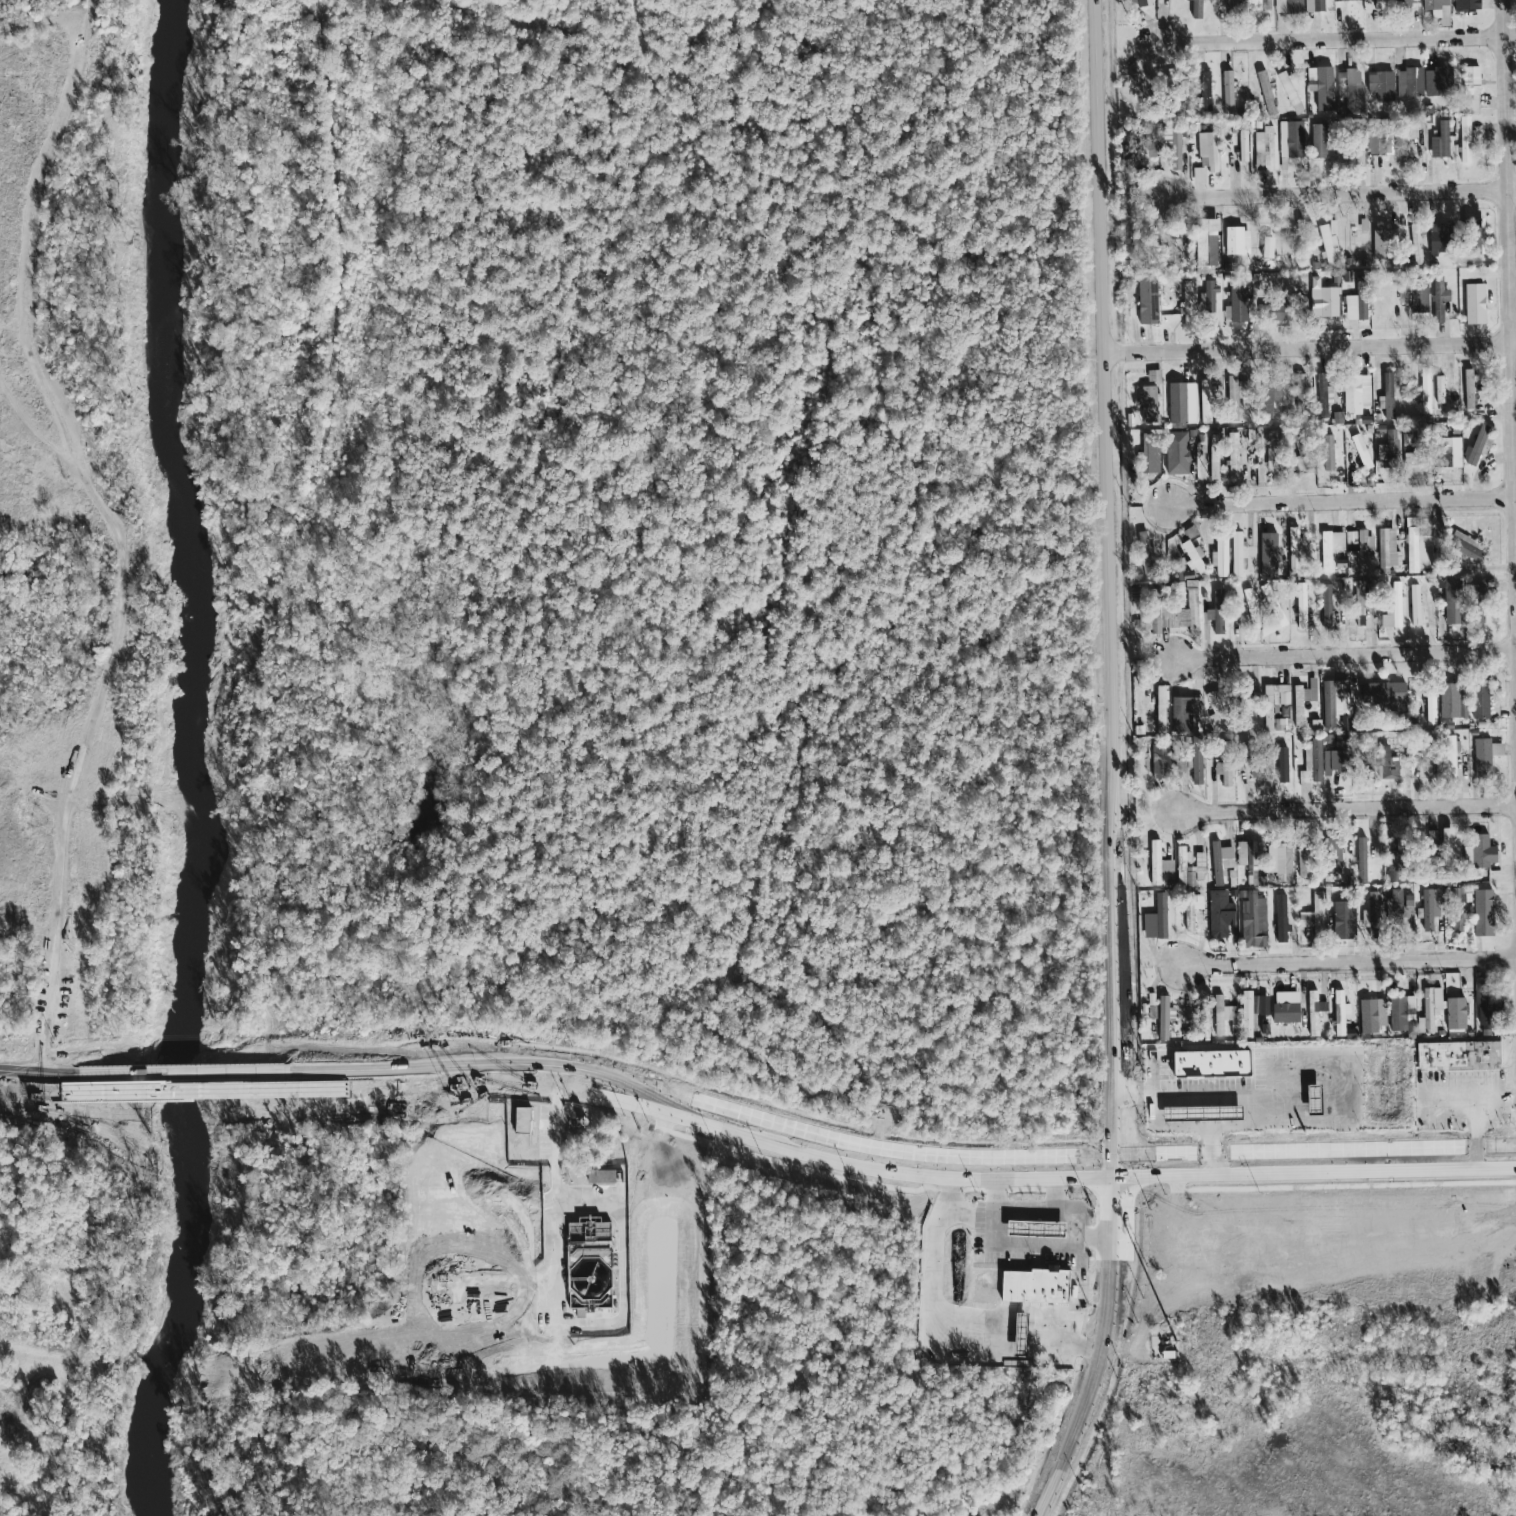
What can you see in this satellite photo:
building: (1345, 0)
building: (1468, 1)
building: (1232, 2)
building: (1404, 2)
building: (1139, 3)
building: (1378, 4)
building: (1255, 5)
building: (1313, 5)
building: (1287, 6)
building: (1265, 8)
building: (1194, 9)
building: (1437, 10)
road: (89, 20)
road: (1336, 42)
building: (1469, 79)
building: (1437, 81)
building: (1408, 83)
building: (1380, 85)
building: (1320, 86)
building: (1349, 90)
building: (1205, 91)
building: (1289, 91)
building: (1227, 92)
building: (1405, 137)
building: (1290, 139)
building: (1463, 140)
building: (1317, 141)
building: (1438, 141)
building: (1374, 145)
building: (1173, 146)
building: (1242, 146)
building: (1264, 149)
building: (1206, 151)
building: (1357, 156)
building: (1198, 175)
road: (1341, 194)
building: (1472, 236)
building: (1437, 238)
building: (1235, 241)
building: (1326, 241)
building: (1381, 241)
building: (1203, 242)
building: (1415, 244)
building: (1265, 247)
building: (1172, 253)
road: (27, 263)
road: (1508, 268)
building: (1402, 293)
building: (1206, 297)
building: (1416, 297)
building: (1186, 298)
building: (1321, 299)
building: (1437, 299)
building: (1145, 301)
building: (1472, 304)
building: (1235, 305)
building: (1360, 307)
building: (1349, 308)
building: (1277, 312)
road: (1309, 349)
building: (1152, 376)
building: (1467, 389)
building: (1438, 390)
building: (1204, 391)
building: (1299, 391)
building: (1323, 393)
building: (1355, 393)
building: (1424, 393)
building: (1386, 395)
building: (1231, 398)
building: (1269, 398)
building: (1180, 403)
building: (1147, 404)
building: (1476, 446)
building: (1387, 448)
building: (1175, 453)
building: (1327, 453)
building: (1446, 453)
building: (1231, 455)
building: (1273, 455)
building: (1146, 458)
building: (1300, 463)
building: (1212, 466)
road: (1105, 492)
road: (1343, 502)
building: (1350, 537)
building: (1464, 546)
building: (1328, 548)
building: (1415, 548)
building: (1143, 551)
building: (1386, 551)
building: (1235, 553)
building: (1360, 554)
building: (1219, 556)
building: (1266, 556)
building: (1192, 558)
building: (1414, 599)
building: (1448, 600)
building: (1248, 601)
building: (1325, 604)
building: (1474, 605)
building: (1300, 606)
building: (1190, 607)
building: (1391, 607)
building: (1159, 615)
building: (1213, 619)
road: (1345, 656)
building: (1380, 695)
building: (1301, 701)
building: (1332, 701)
building: (1450, 702)
building: (1478, 702)
building: (1429, 707)
building: (1158, 709)
building: (1214, 710)
building: (1242, 711)
building: (1266, 711)
building: (1182, 713)
building: (1483, 755)
building: (1449, 756)
building: (1158, 760)
river: (177, 761)
building: (1331, 761)
building: (1310, 763)
building: (1280, 765)
building: (1386, 765)
building: (1189, 767)
building: (1223, 773)
road: (75, 779)
road: (1348, 810)
building: (1445, 838)
building: (1477, 852)
building: (1331, 856)
building: (1247, 859)
building: (1360, 860)
building: (1219, 861)
building: (1278, 861)
building: (1300, 861)
building: (1154, 862)
building: (1166, 866)
building: (1188, 867)
building: (1389, 869)
building: (1407, 906)
building: (1427, 906)
building: (1392, 907)
building: (1455, 910)
building: (1187, 911)
building: (1369, 912)
building: (1480, 913)
building: (1217, 914)
building: (1312, 915)
building: (1156, 917)
building: (1279, 918)
building: (1251, 919)
building: (1341, 920)
road: (1349, 965)
building: (1484, 1002)
building: (1314, 1003)
building: (1258, 1005)
building: (1283, 1007)
building: (1429, 1008)
building: (1399, 1011)
building: (1339, 1013)
building: (1454, 1013)
building: (1221, 1015)
building: (1245, 1015)
building: (1366, 1017)
building: (1161, 1018)
building: (1312, 1025)
building: (1456, 1056)
building: (1206, 1064)
road: (1121, 1071)
road: (1322, 1072)
road: (184, 1089)
road: (38, 1091)
road: (1472, 1094)
road: (1136, 1098)
building: (1309, 1100)
road: (1222, 1101)
road: (622, 1106)
building: (1198, 1114)
road: (1475, 1120)
building: (518, 1121)
road: (1226, 1128)
traffic signals: (1121, 1131)
road: (1273, 1139)
road: (1205, 1142)
road: (1319, 1151)
traffic signals: (1154, 1156)
road: (1034, 1159)
road: (1122, 1167)
road: (1319, 1171)
building: (598, 1177)
traffic signals: (1082, 1178)
road: (1034, 1179)
traffic signals: (1123, 1201)
road: (588, 1202)
road: (1024, 1208)
road: (1122, 1218)
road: (967, 1221)
building: (1042, 1228)
road: (1101, 1239)
road: (1049, 1245)
building: (1042, 1286)
road: (587, 1324)
building: (1015, 1334)
building: (1028, 1334)
road: (936, 1338)
road: (1089, 1391)

